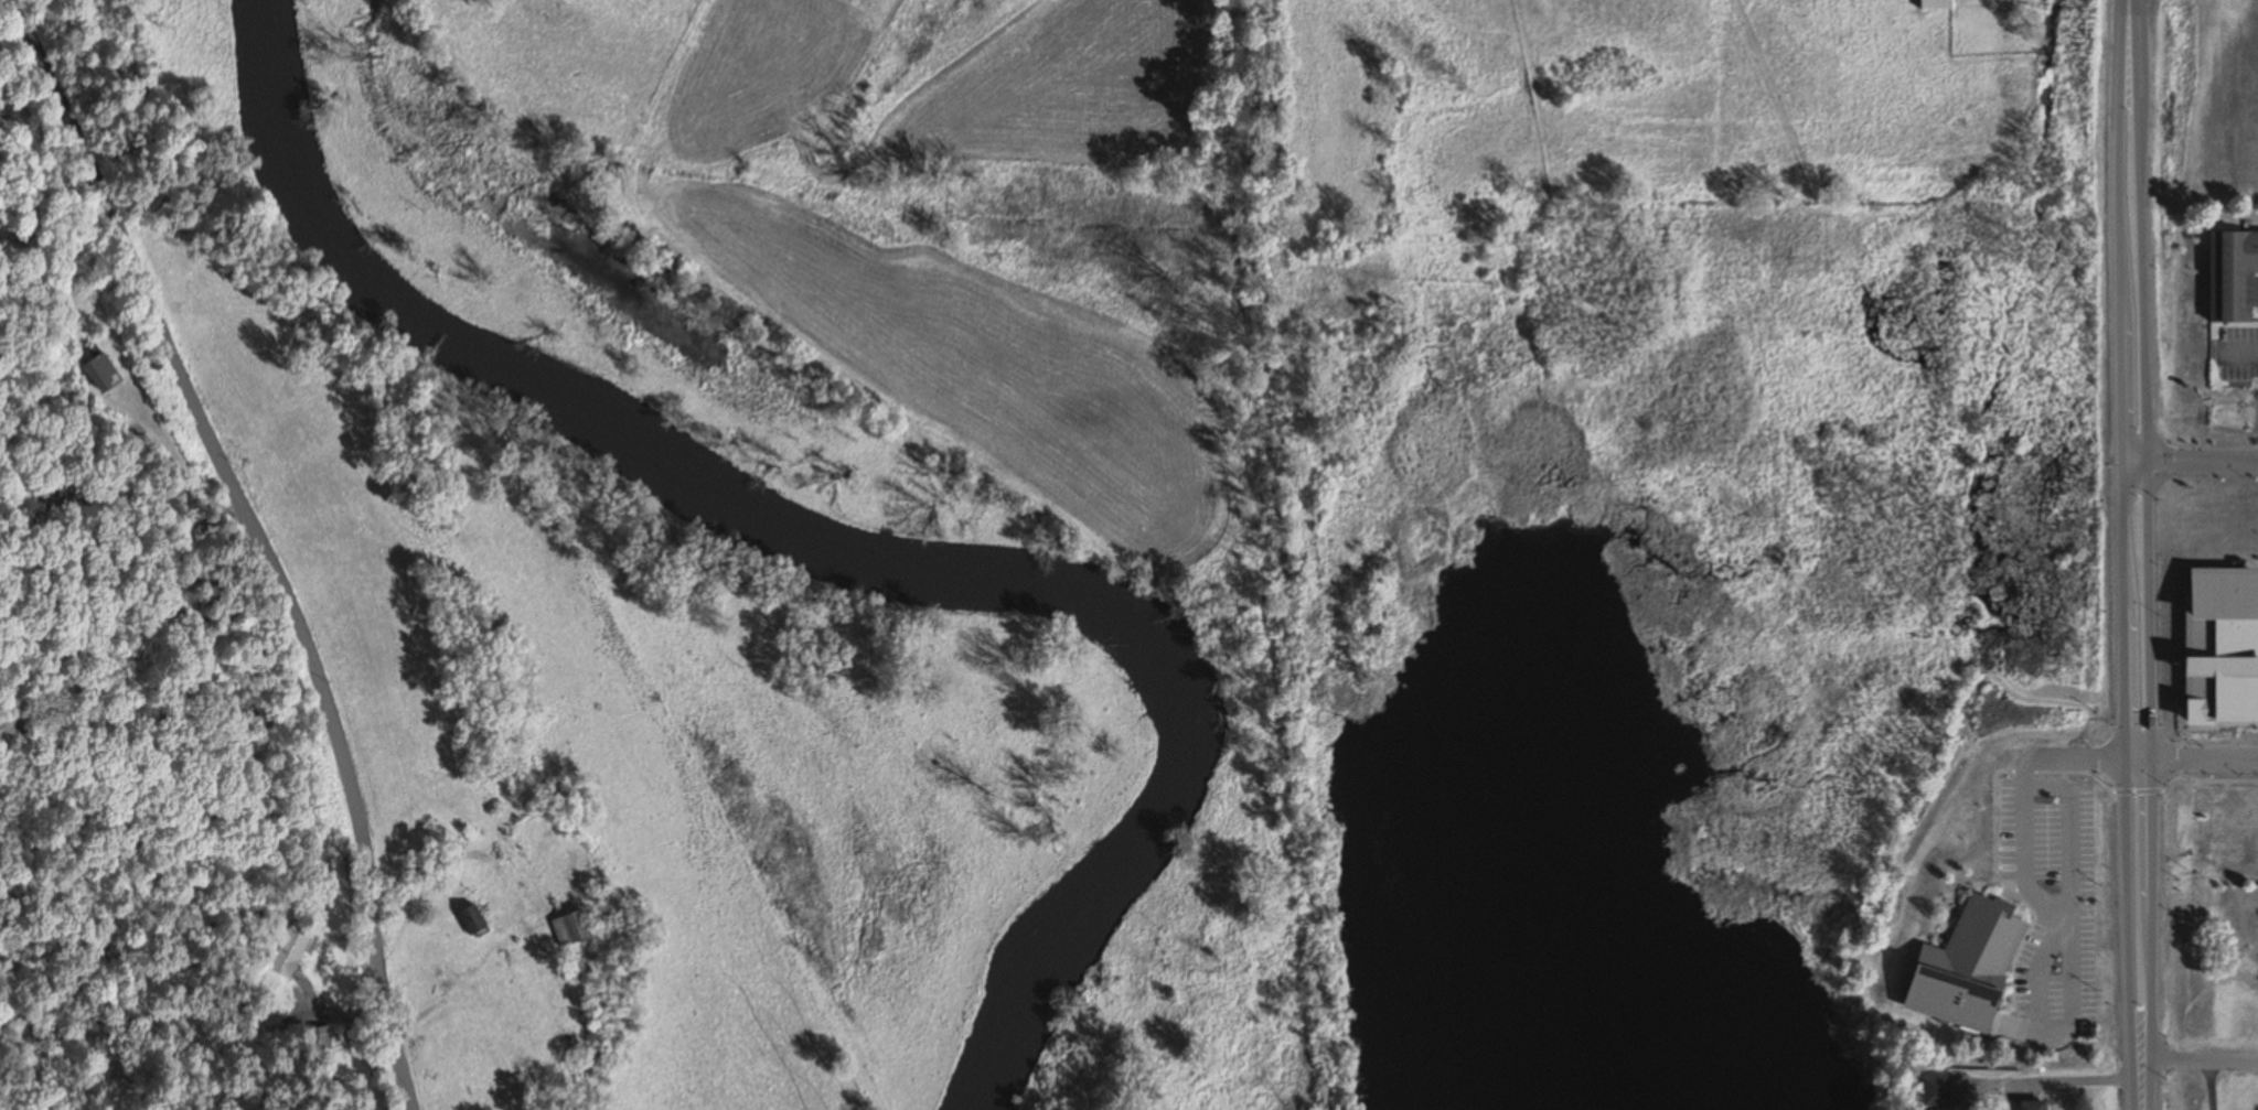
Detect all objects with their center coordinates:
building: (1931, 3)
quarry: (2194, 108)
crop: (940, 226)
building: (2232, 274)
building: (99, 373)
road: (2197, 457)
road: (256, 538)
river: (844, 550)
road: (2138, 554)
building: (2219, 648)
road: (2198, 758)
building: (469, 920)
building: (568, 929)
building: (285, 955)
building: (1965, 967)
building: (318, 1039)
road: (2200, 1061)
building: (1931, 1091)
building: (2030, 1106)

